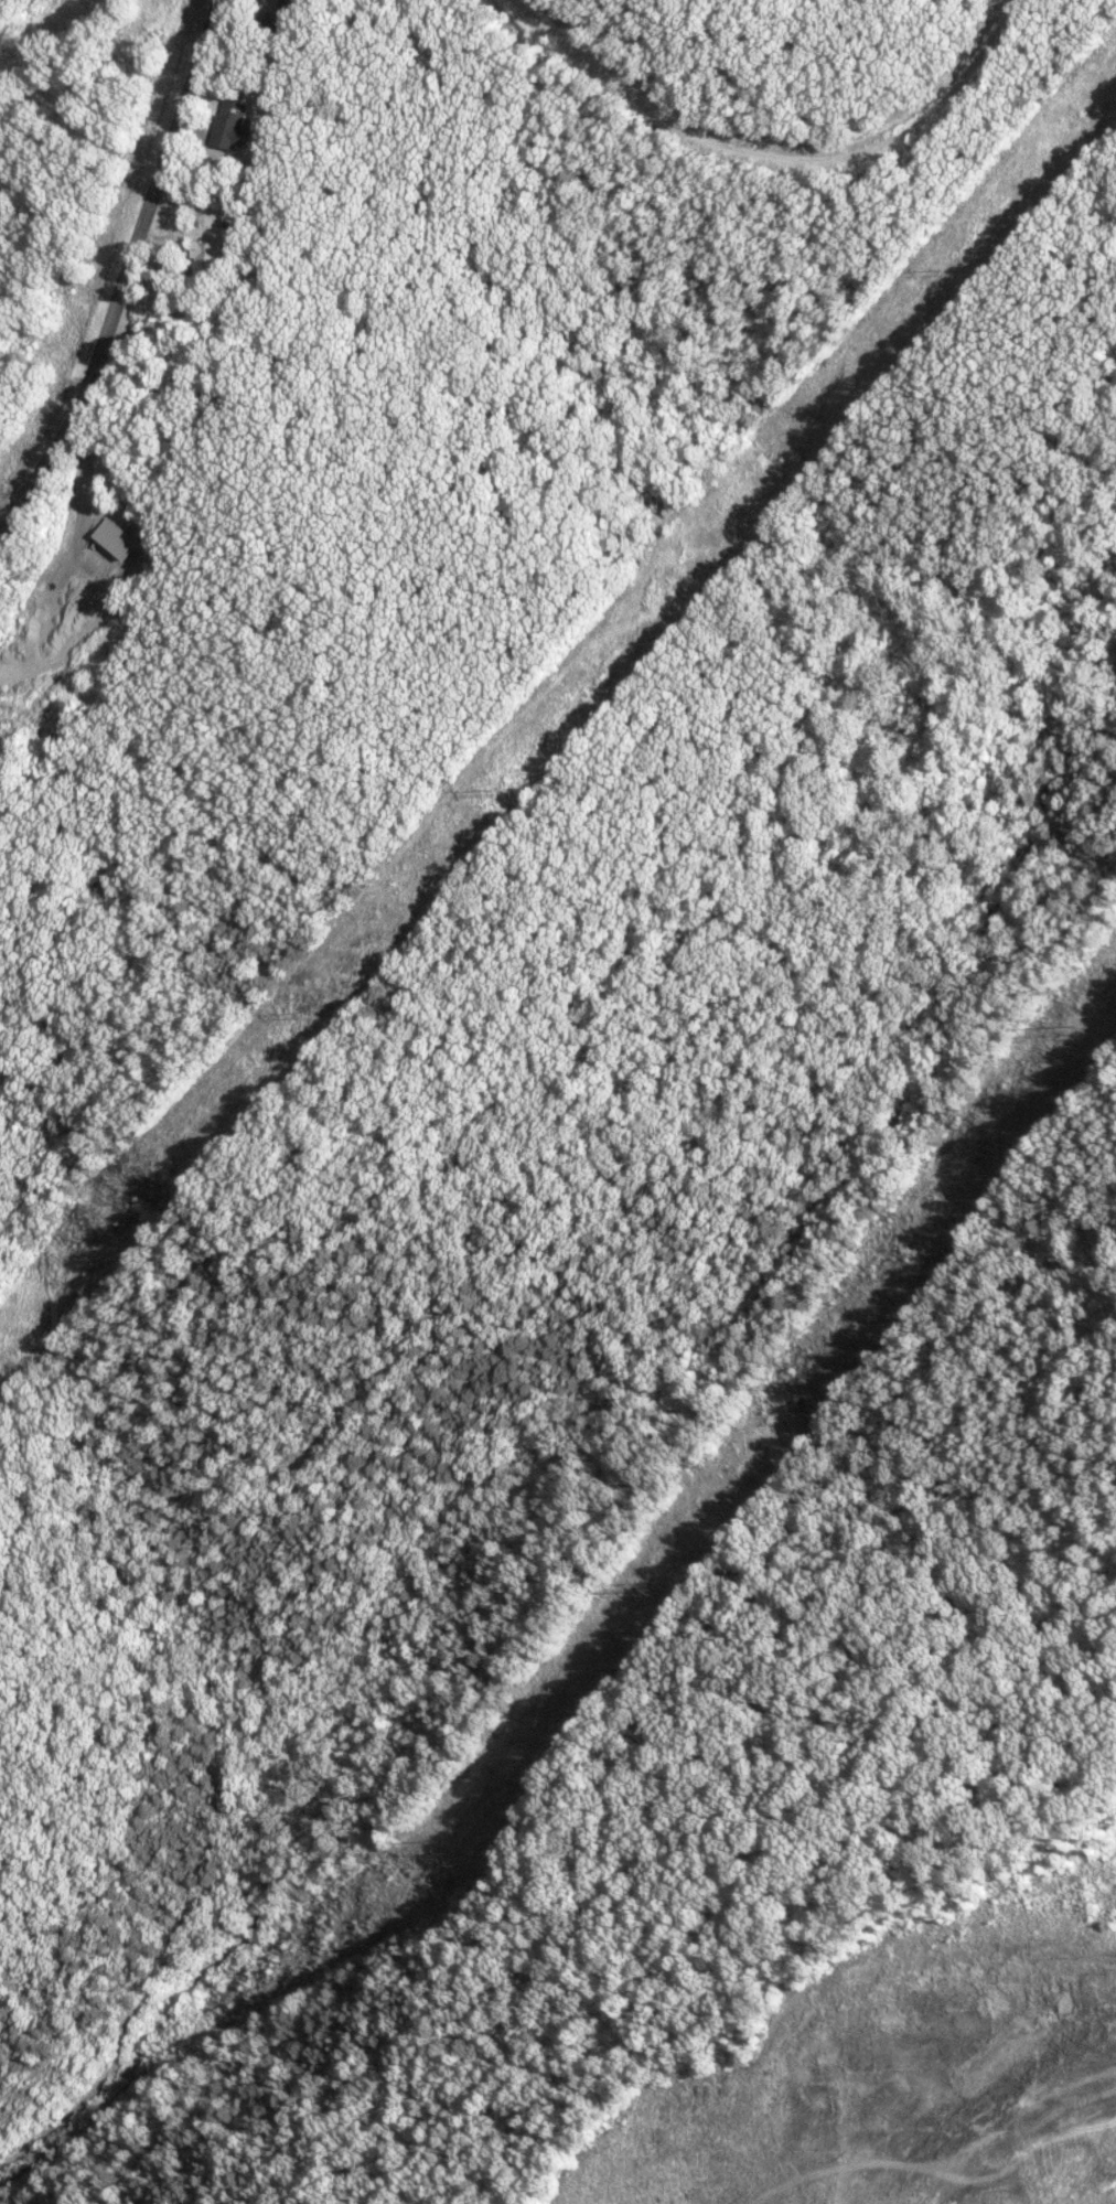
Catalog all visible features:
building: (228, 125)
building: (203, 259)
power tower: (940, 270)
road: (129, 274)
building: (111, 537)
power tower: (484, 794)
power tower: (1072, 1028)
power tower: (645, 1580)
power tower: (454, 1852)

